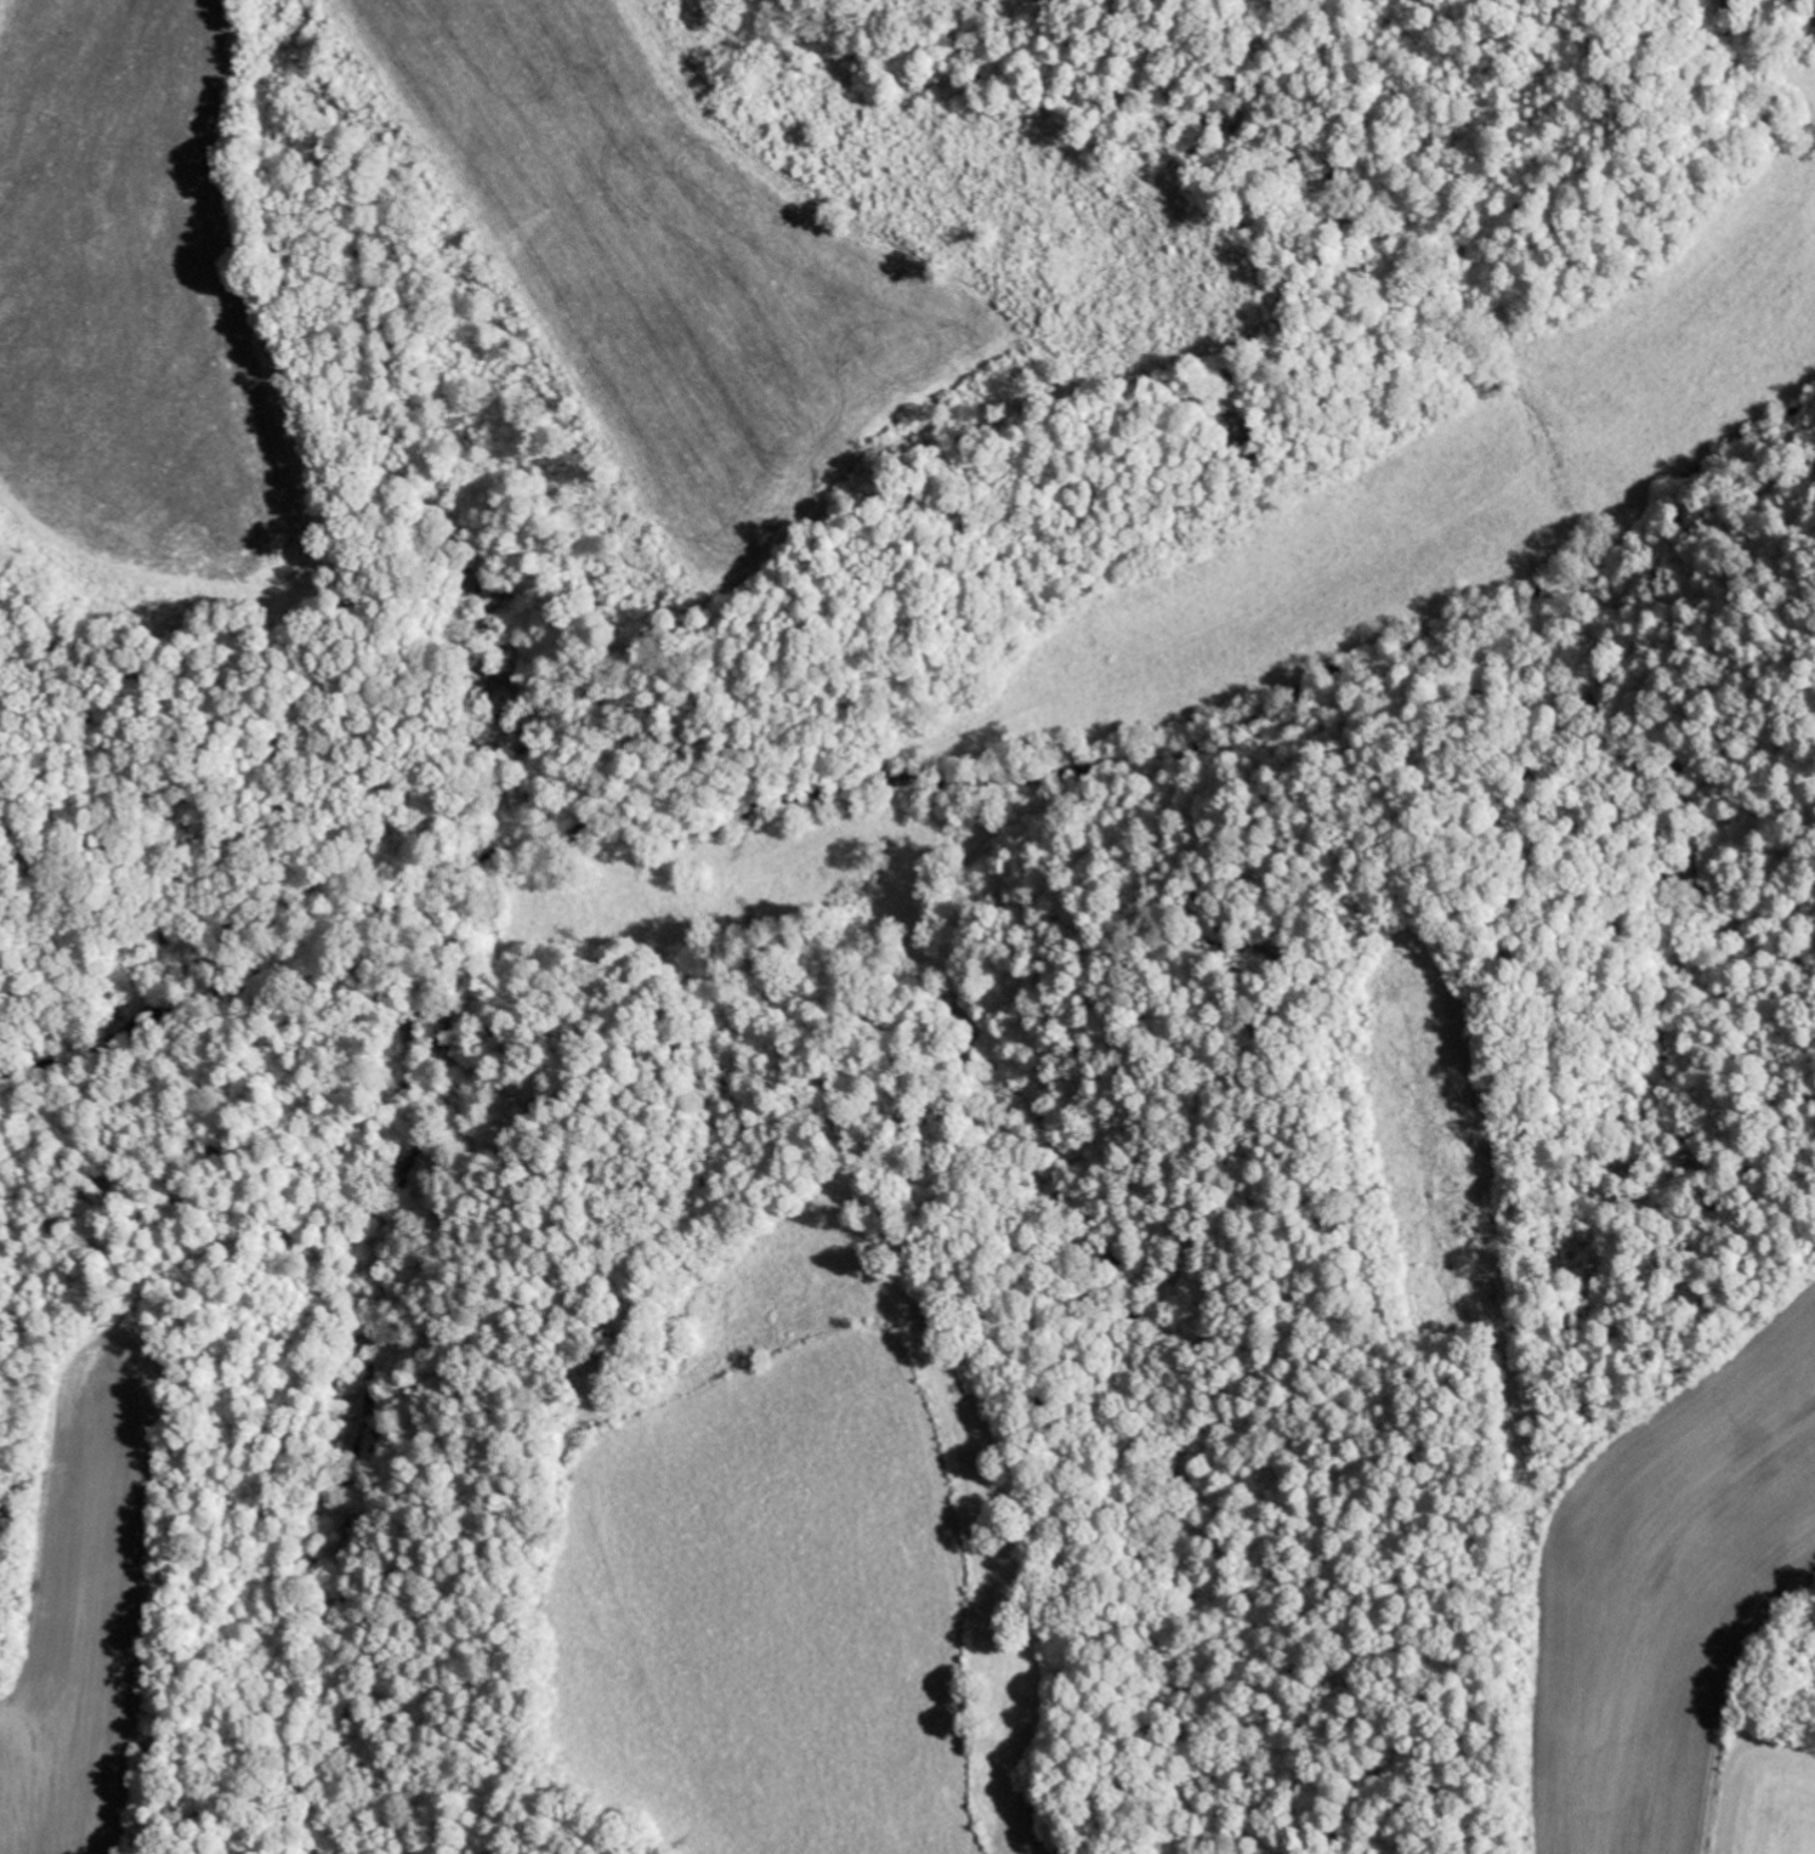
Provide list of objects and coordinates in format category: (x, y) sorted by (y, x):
road: (1726, 1701)

